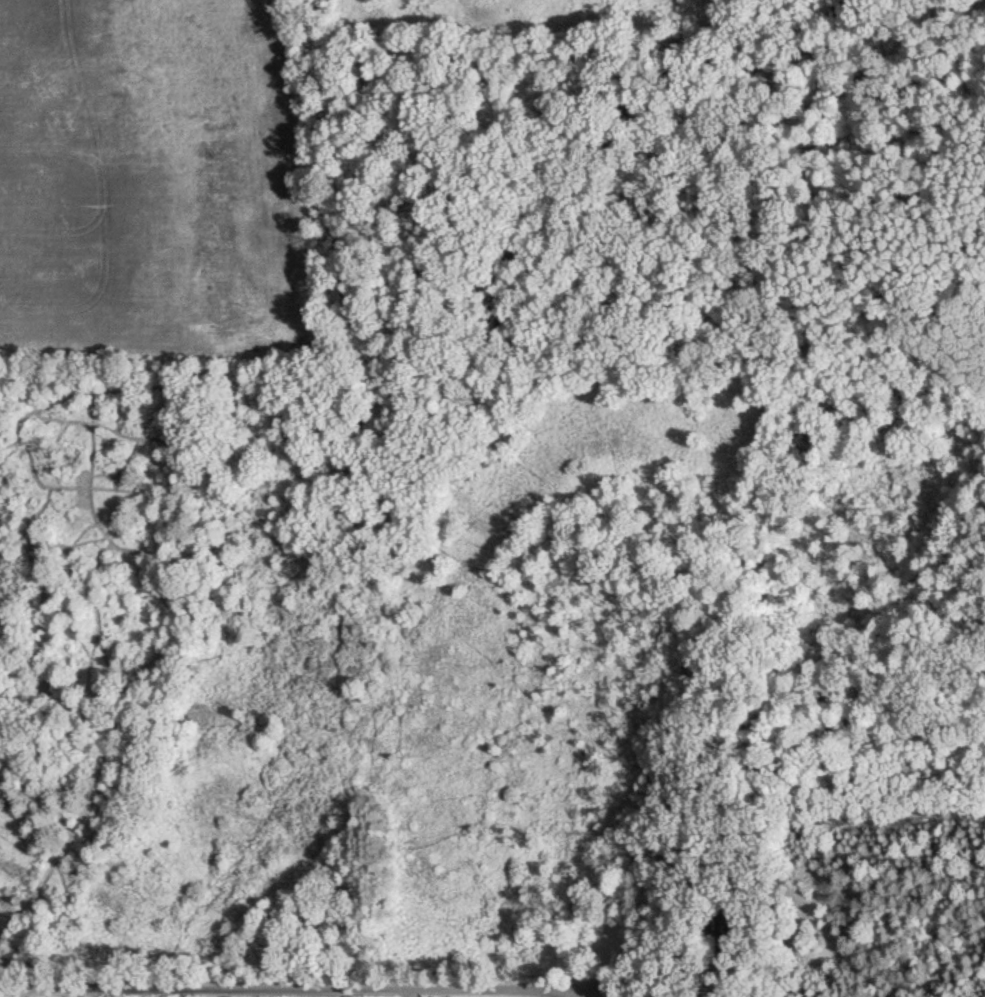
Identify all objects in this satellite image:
building: (673, 872)
road: (294, 993)
road: (589, 995)

